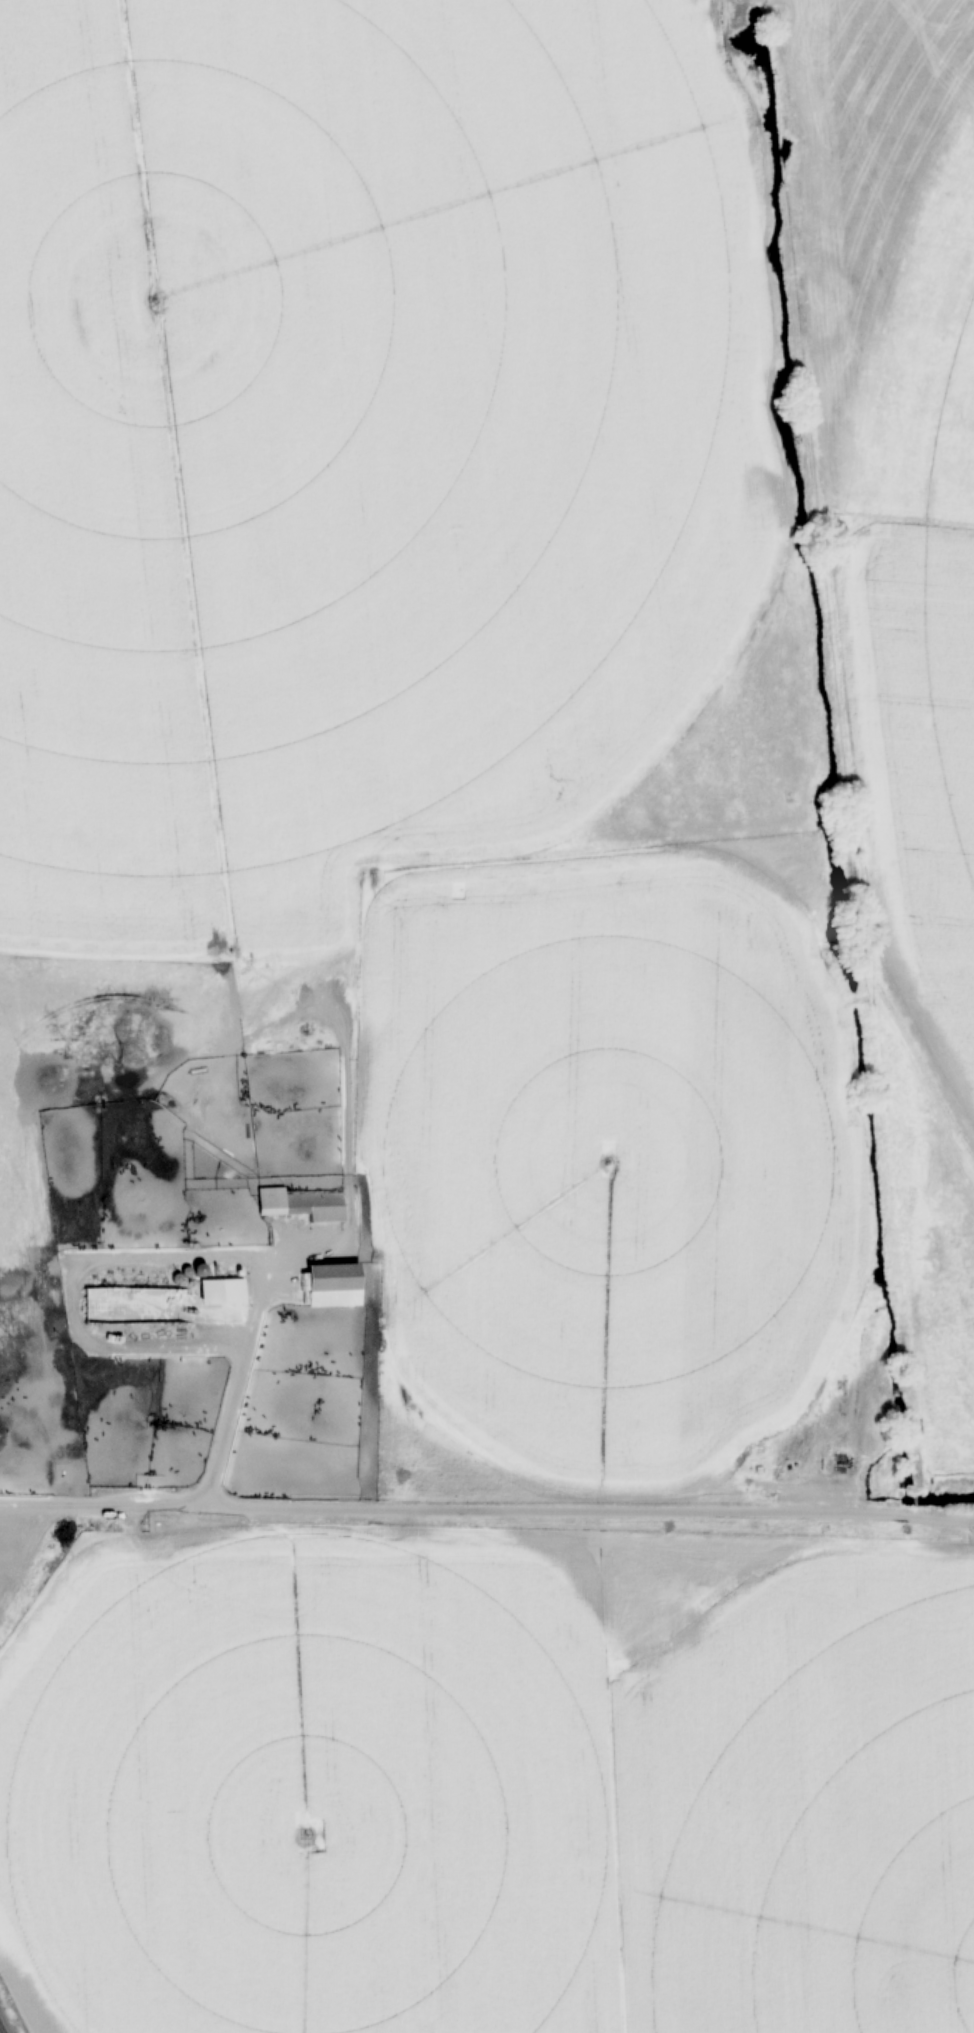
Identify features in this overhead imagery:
crop: (923, 606)
building: (303, 1204)
building: (337, 1284)
building: (224, 1291)
road: (233, 1384)
road: (487, 1508)

